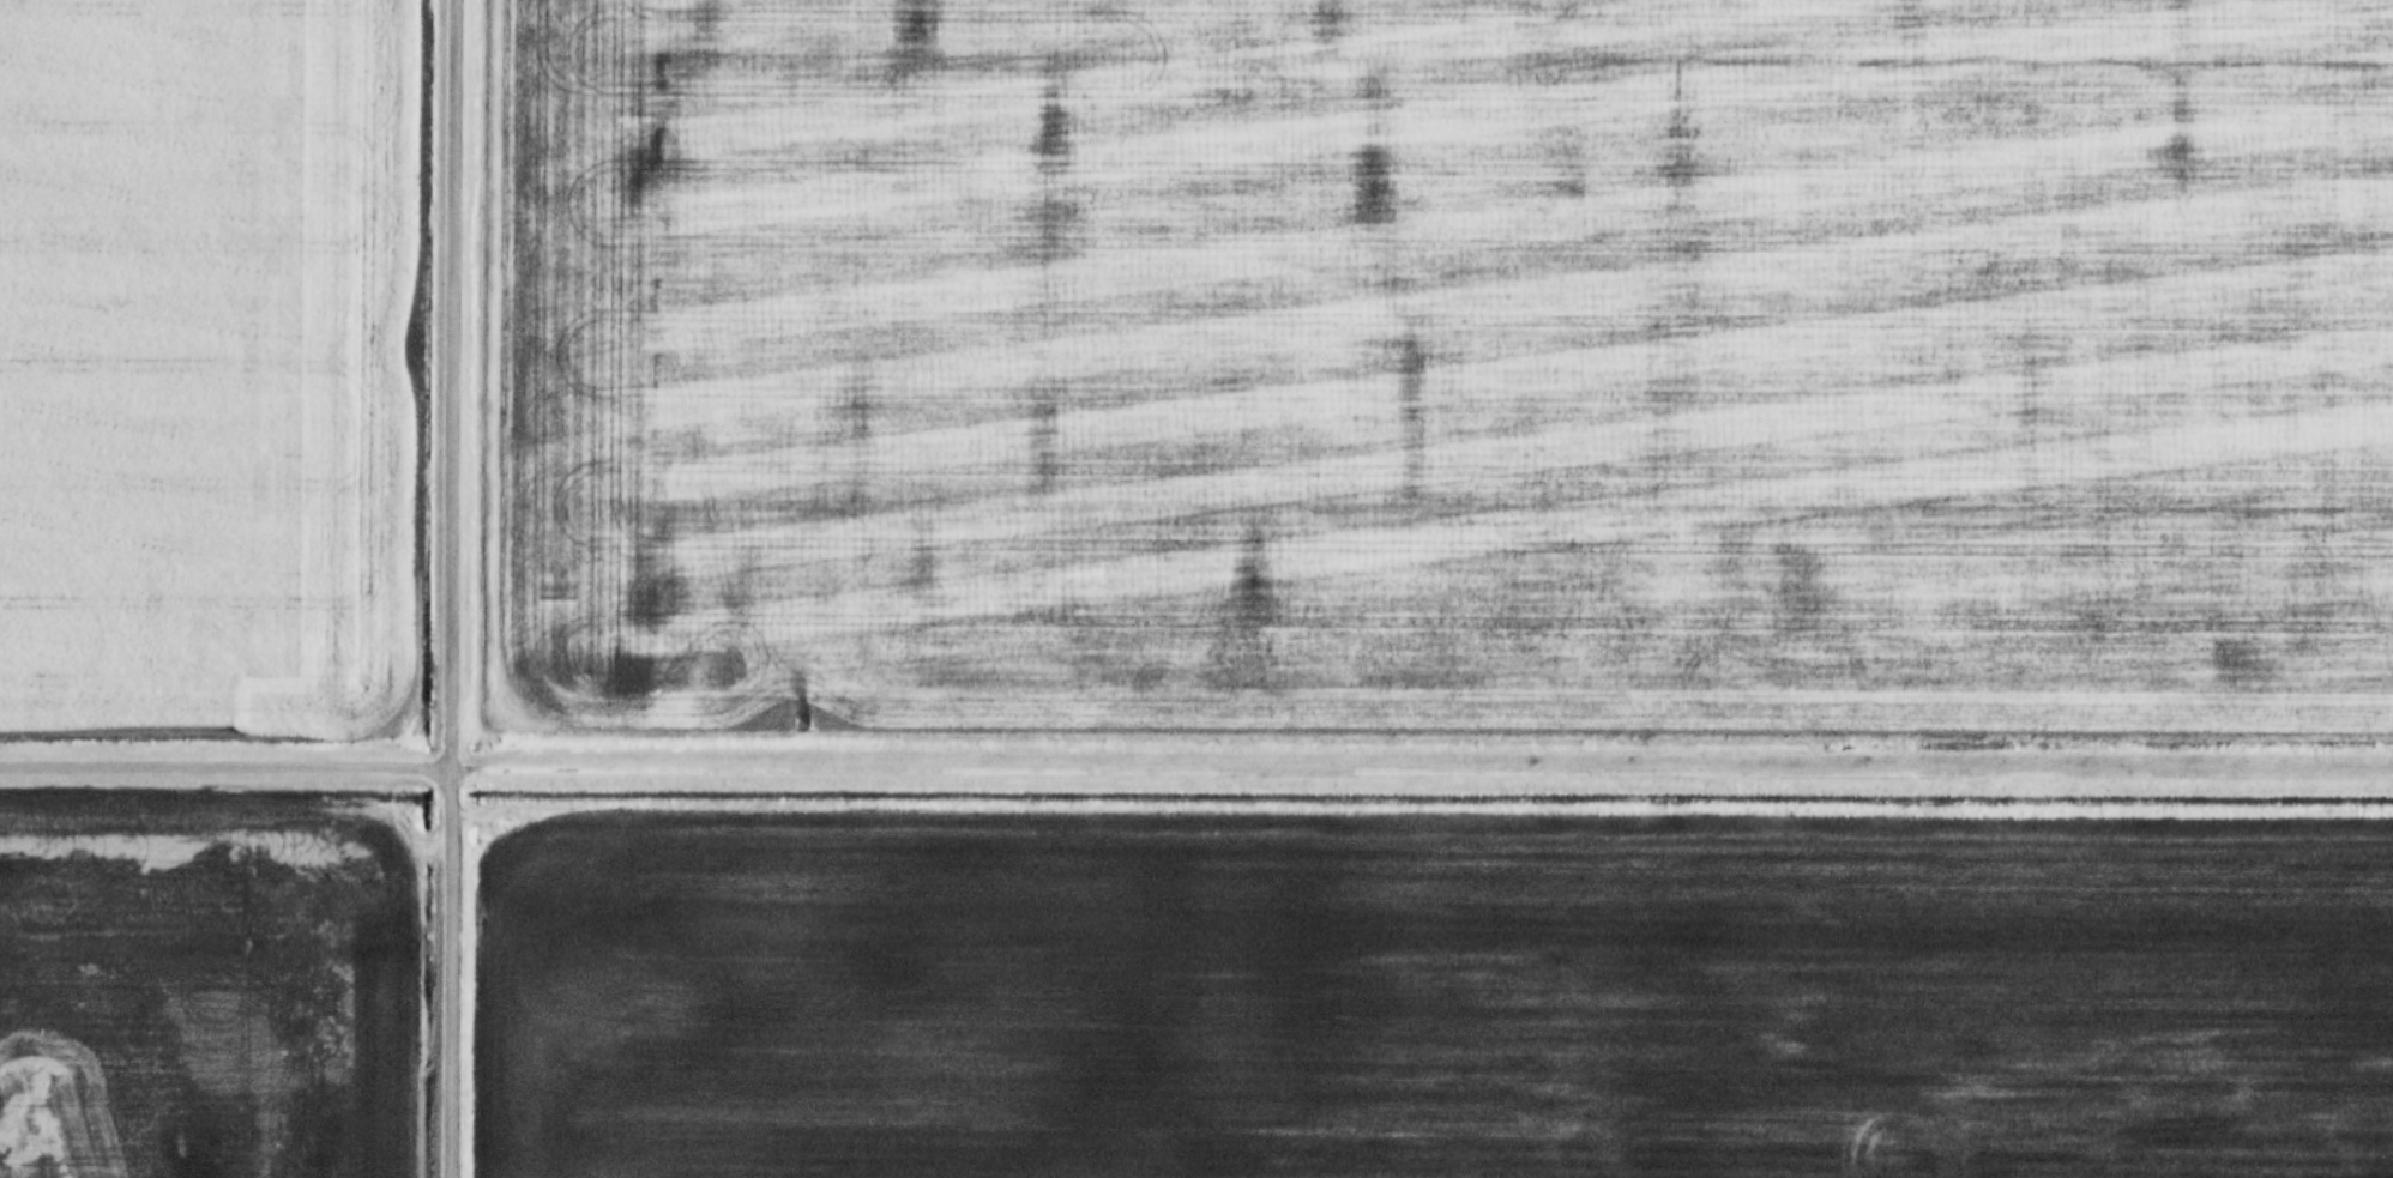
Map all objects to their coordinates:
road: (448, 382)
road: (223, 765)
road: (1418, 771)
road: (445, 972)

